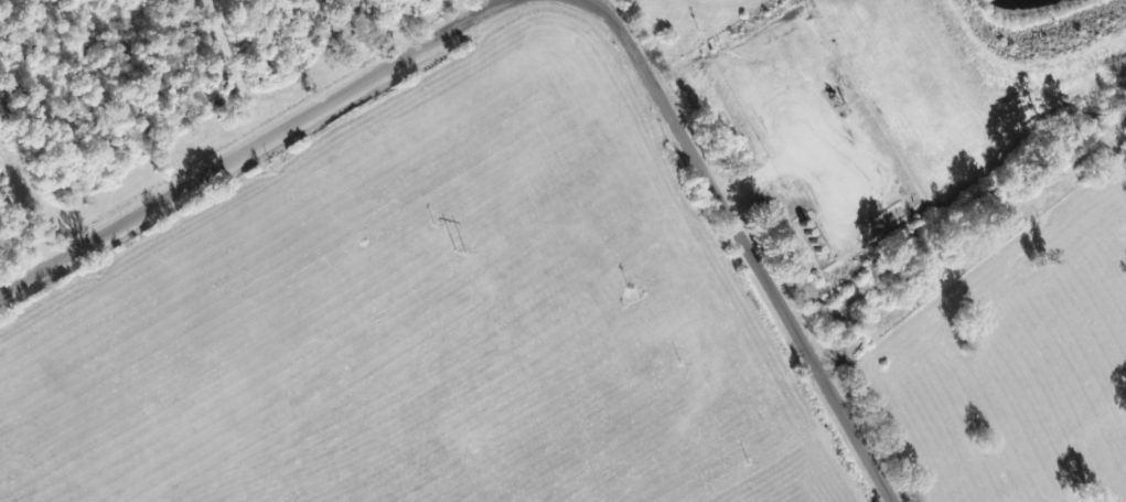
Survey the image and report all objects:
road: (265, 146)
road: (739, 238)
road: (969, 241)
power tower: (460, 256)

